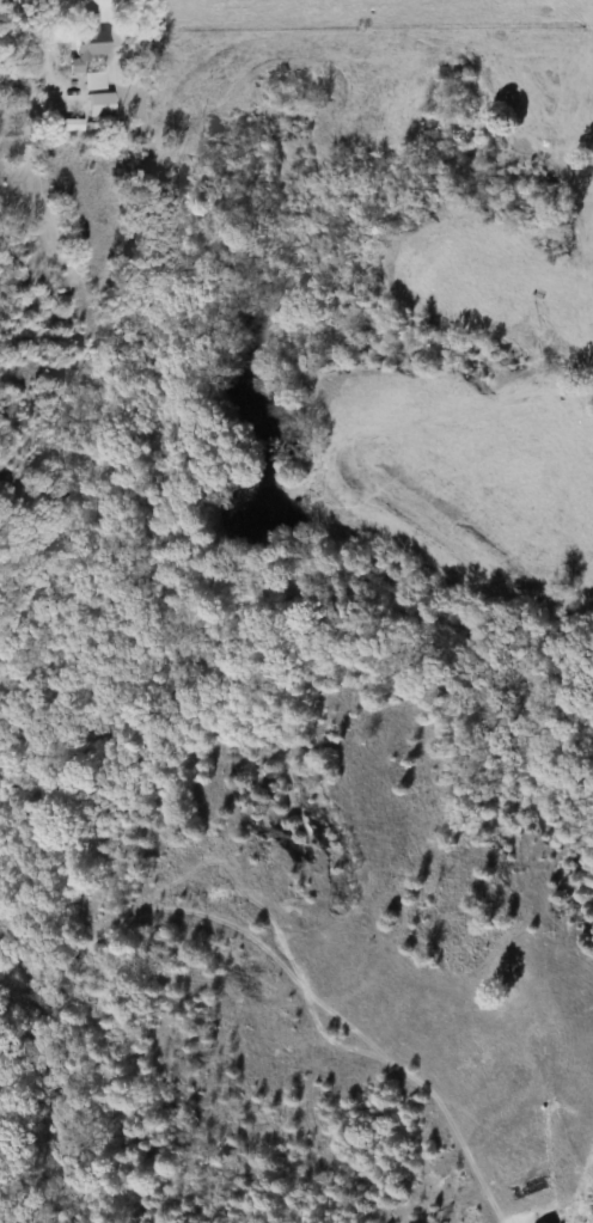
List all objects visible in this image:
building: (85, 39)
building: (91, 81)
building: (96, 105)

